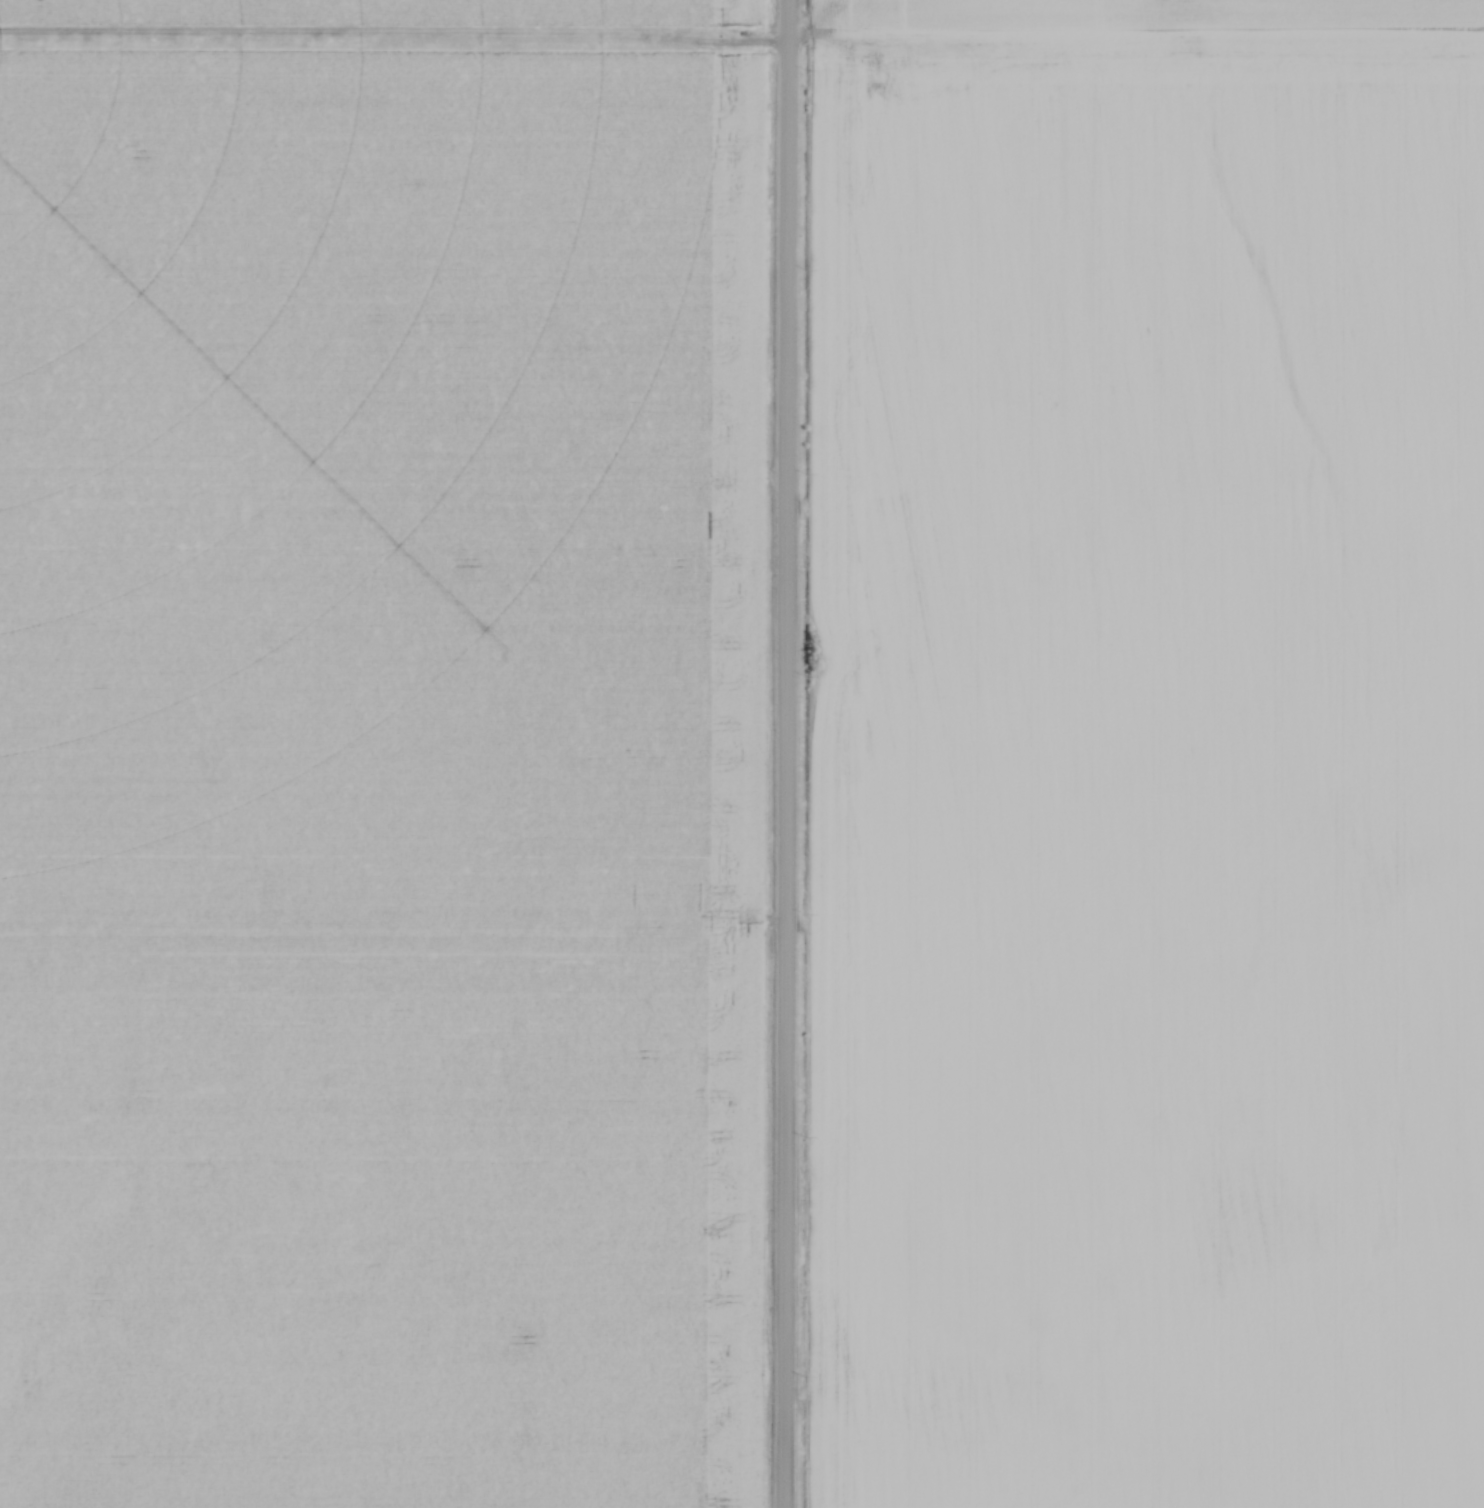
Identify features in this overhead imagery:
road: (784, 754)

